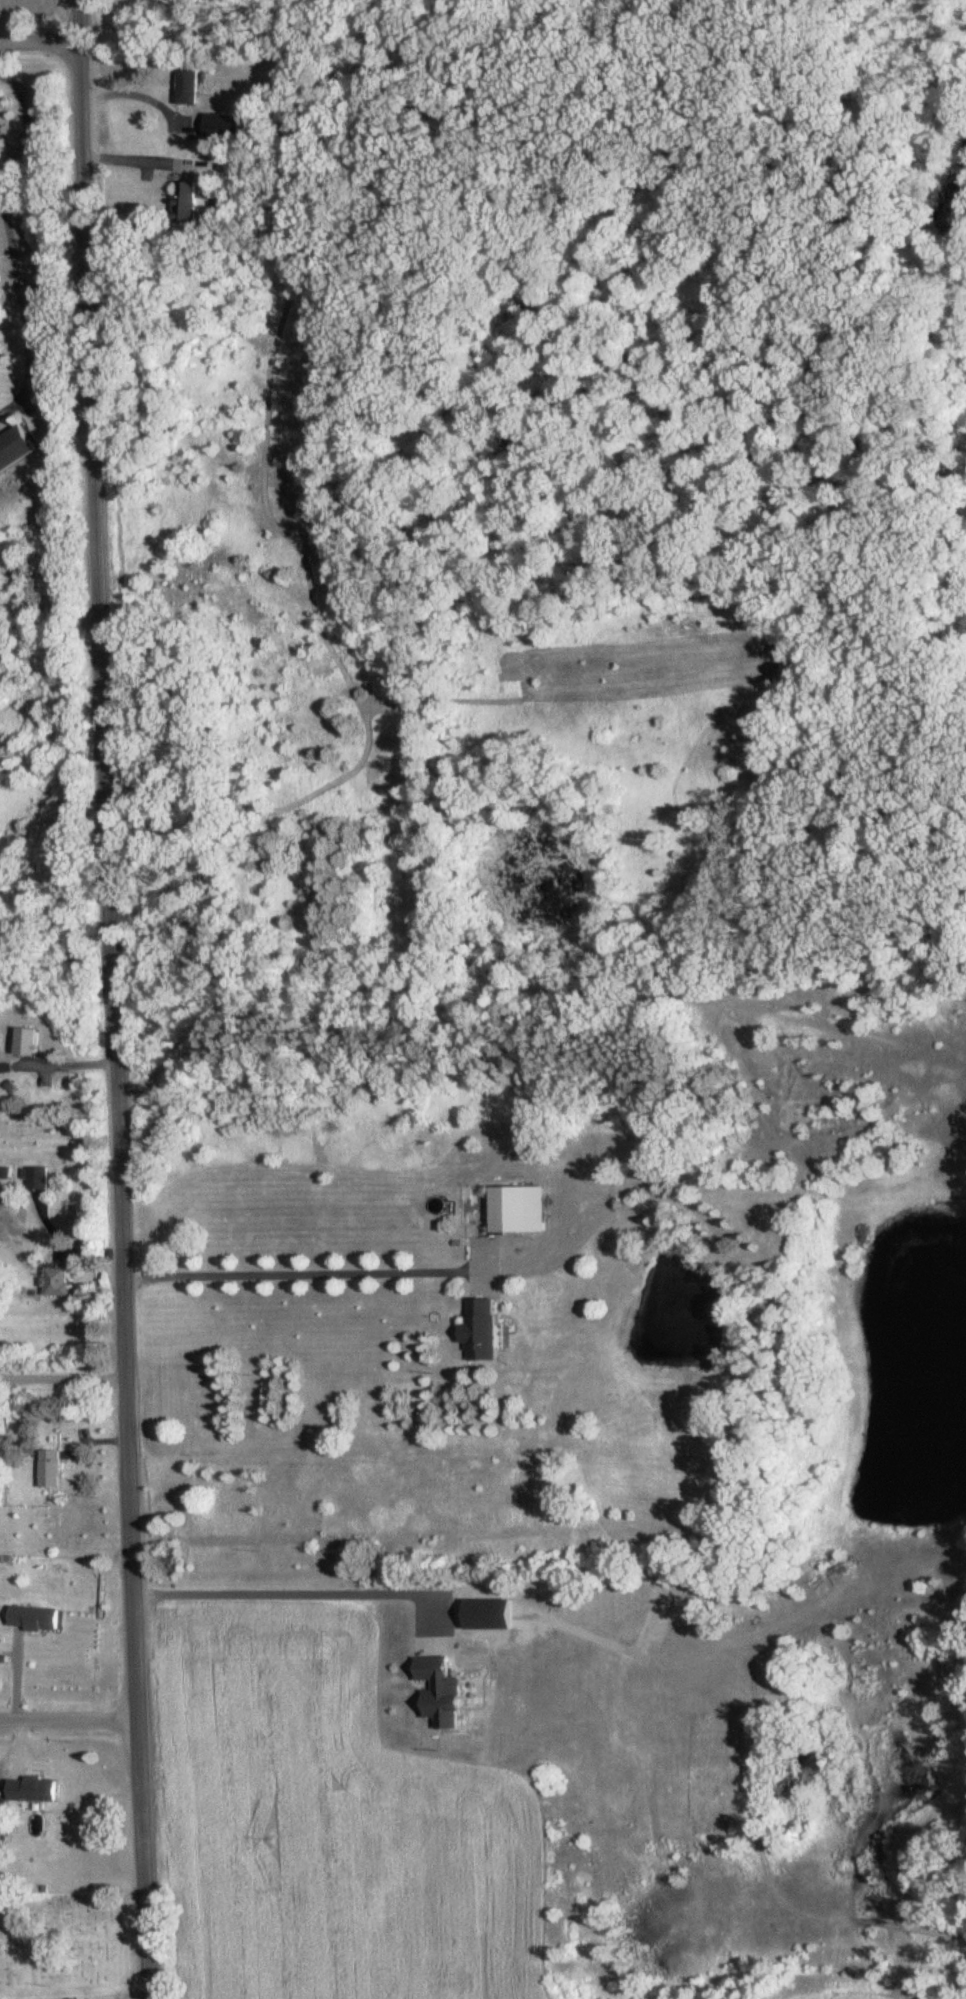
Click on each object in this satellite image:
road: (39, 35)
building: (186, 85)
road: (139, 95)
building: (220, 125)
road: (140, 159)
building: (184, 201)
road: (10, 241)
building: (13, 447)
road: (438, 977)
road: (114, 999)
building: (22, 1043)
building: (5, 1172)
building: (37, 1178)
building: (515, 1208)
road: (292, 1274)
building: (55, 1281)
building: (479, 1329)
road: (63, 1379)
building: (49, 1469)
building: (19, 1555)
building: (2, 1557)
road: (306, 1591)
building: (32, 1616)
road: (18, 1676)
road: (70, 1719)
road: (21, 1745)
building: (30, 1788)
park: (67, 1937)
road: (75, 1938)
road: (76, 1996)

